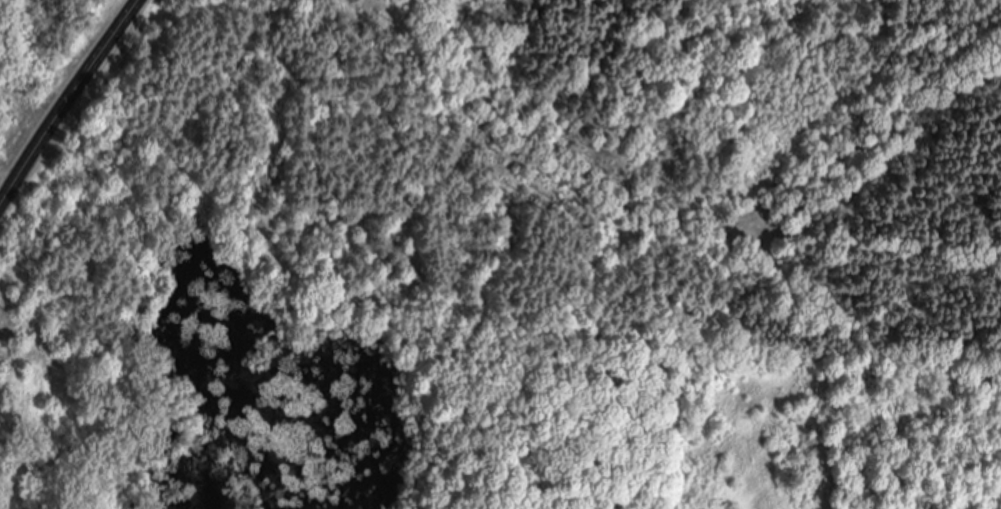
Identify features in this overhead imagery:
road: (64, 100)

